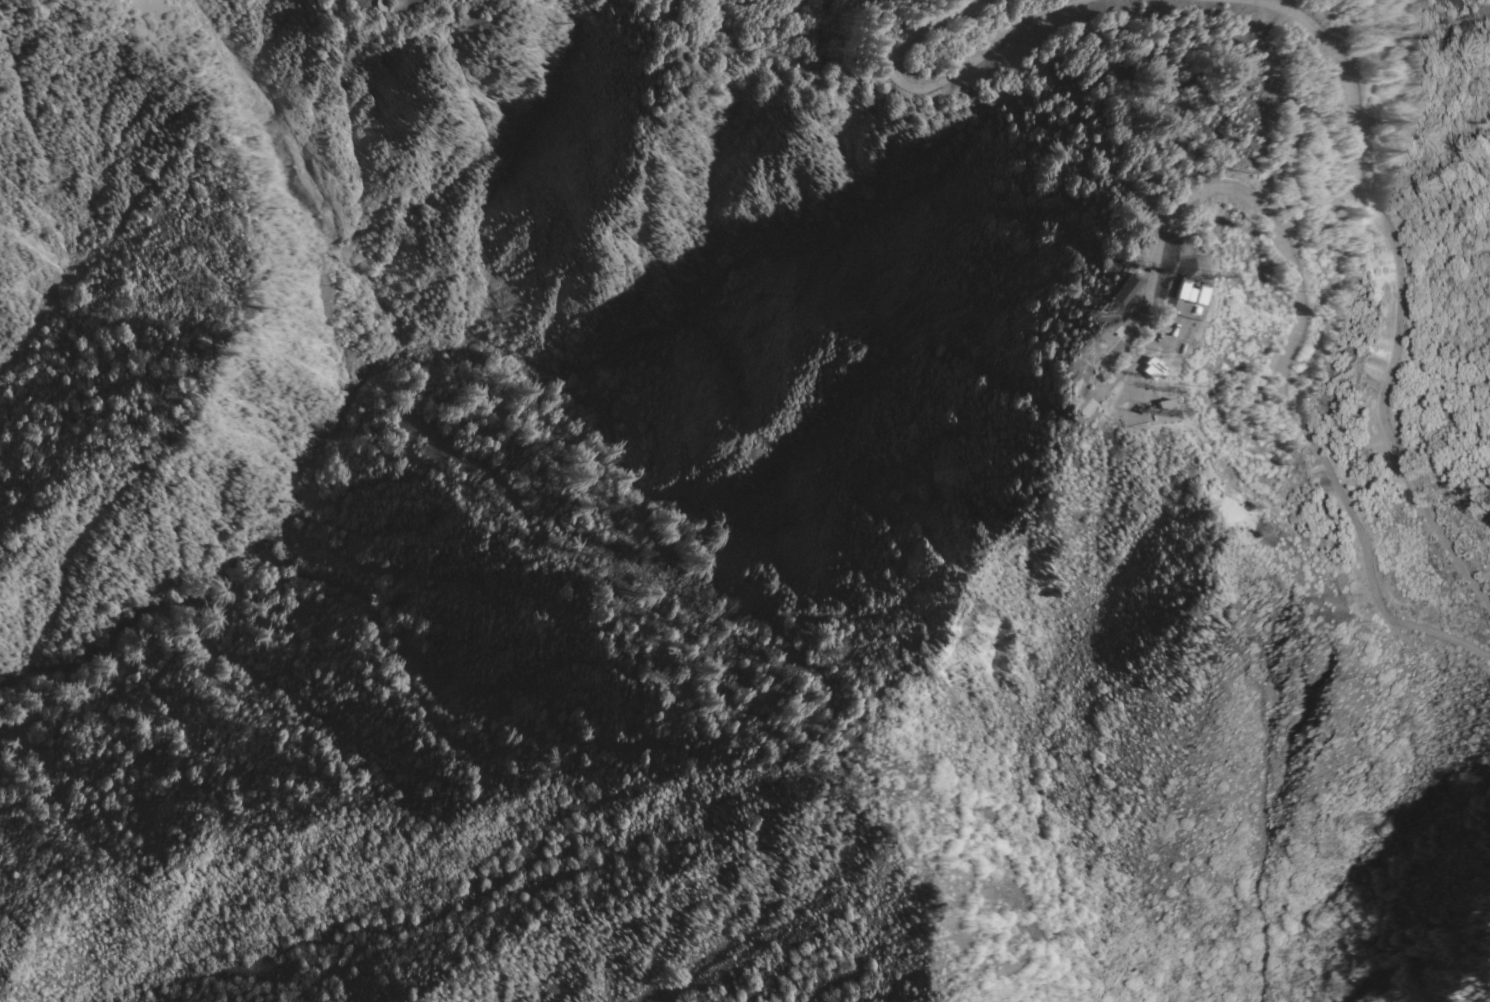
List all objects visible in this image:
road: (1365, 22)
road: (1349, 36)
road: (939, 75)
building: (1086, 286)
building: (1149, 287)
building: (1178, 293)
road: (1395, 293)
building: (1123, 294)
building: (1196, 298)
road: (1296, 308)
building: (1177, 342)
helipad: (1088, 357)
building: (1150, 372)
building: (1165, 412)

